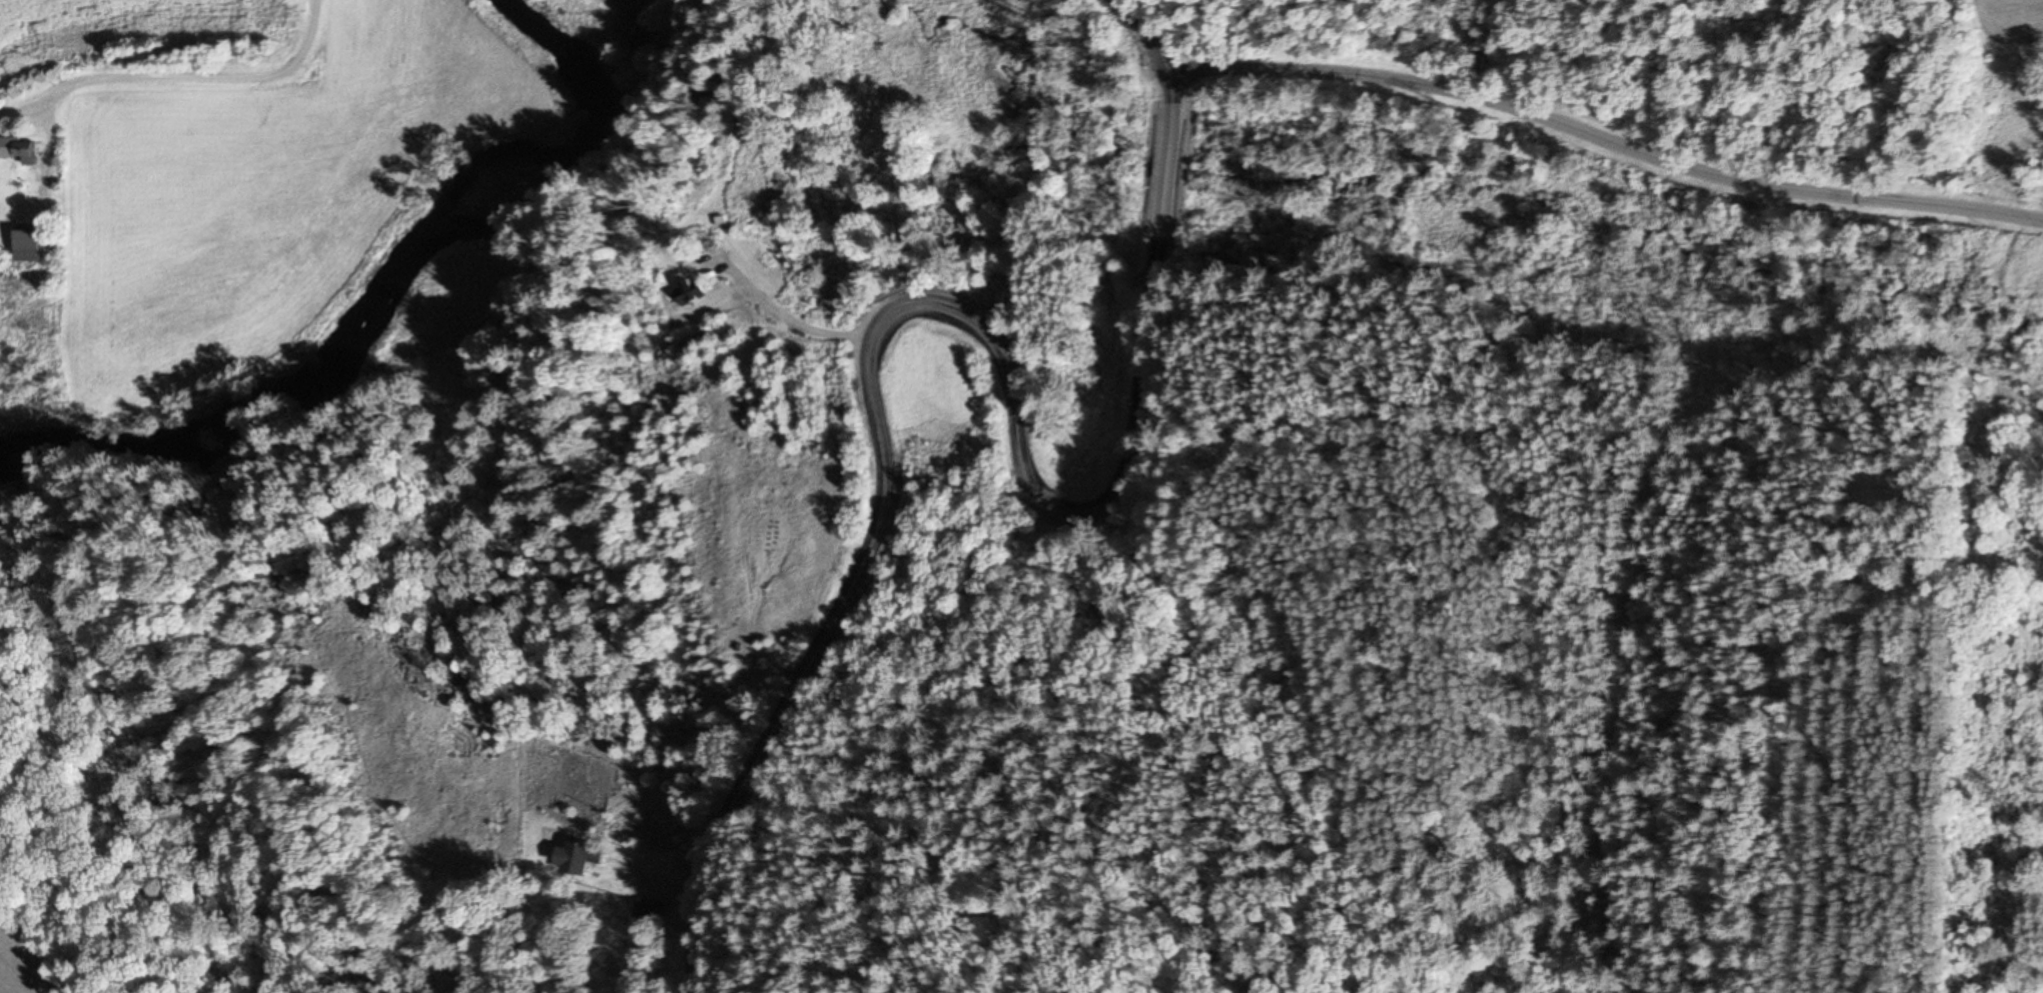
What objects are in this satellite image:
road: (222, 82)
road: (1607, 142)
building: (19, 149)
building: (34, 245)
building: (691, 292)
river: (400, 294)
road: (970, 313)
road: (779, 316)
building: (584, 859)
road: (1377, 899)
building: (650, 912)

